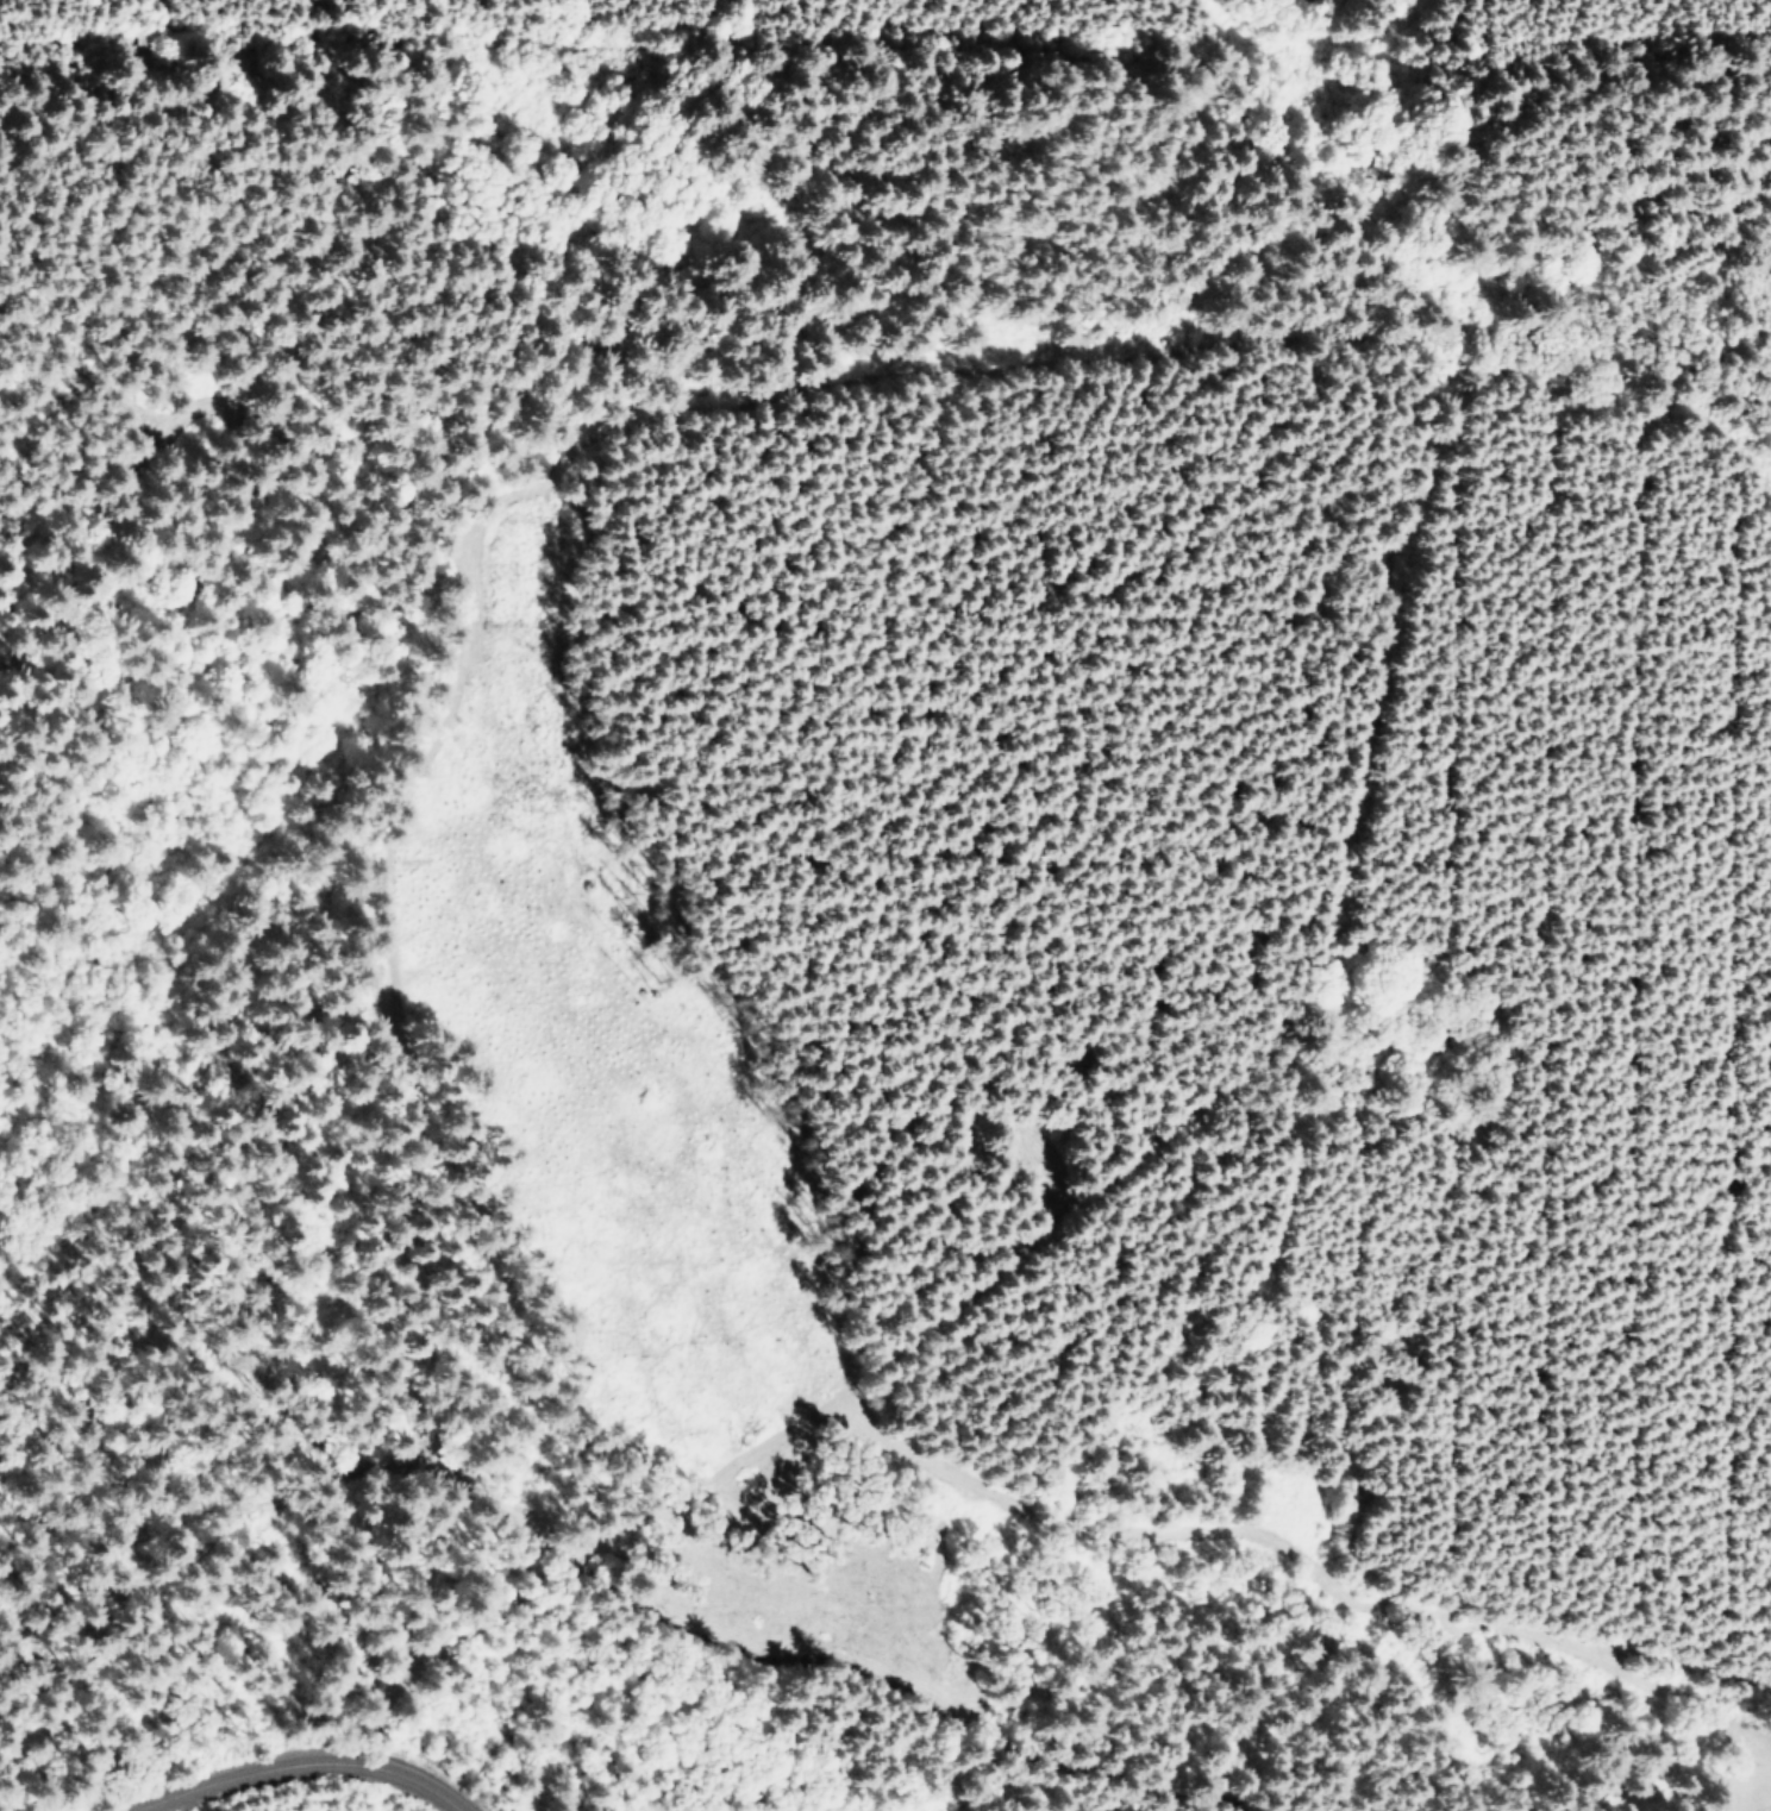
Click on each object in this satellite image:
road: (1320, 46)
road: (684, 56)
road: (1409, 359)
road: (432, 788)
road: (382, 1373)
road: (1296, 1555)
road: (1683, 1671)
road: (295, 1768)

